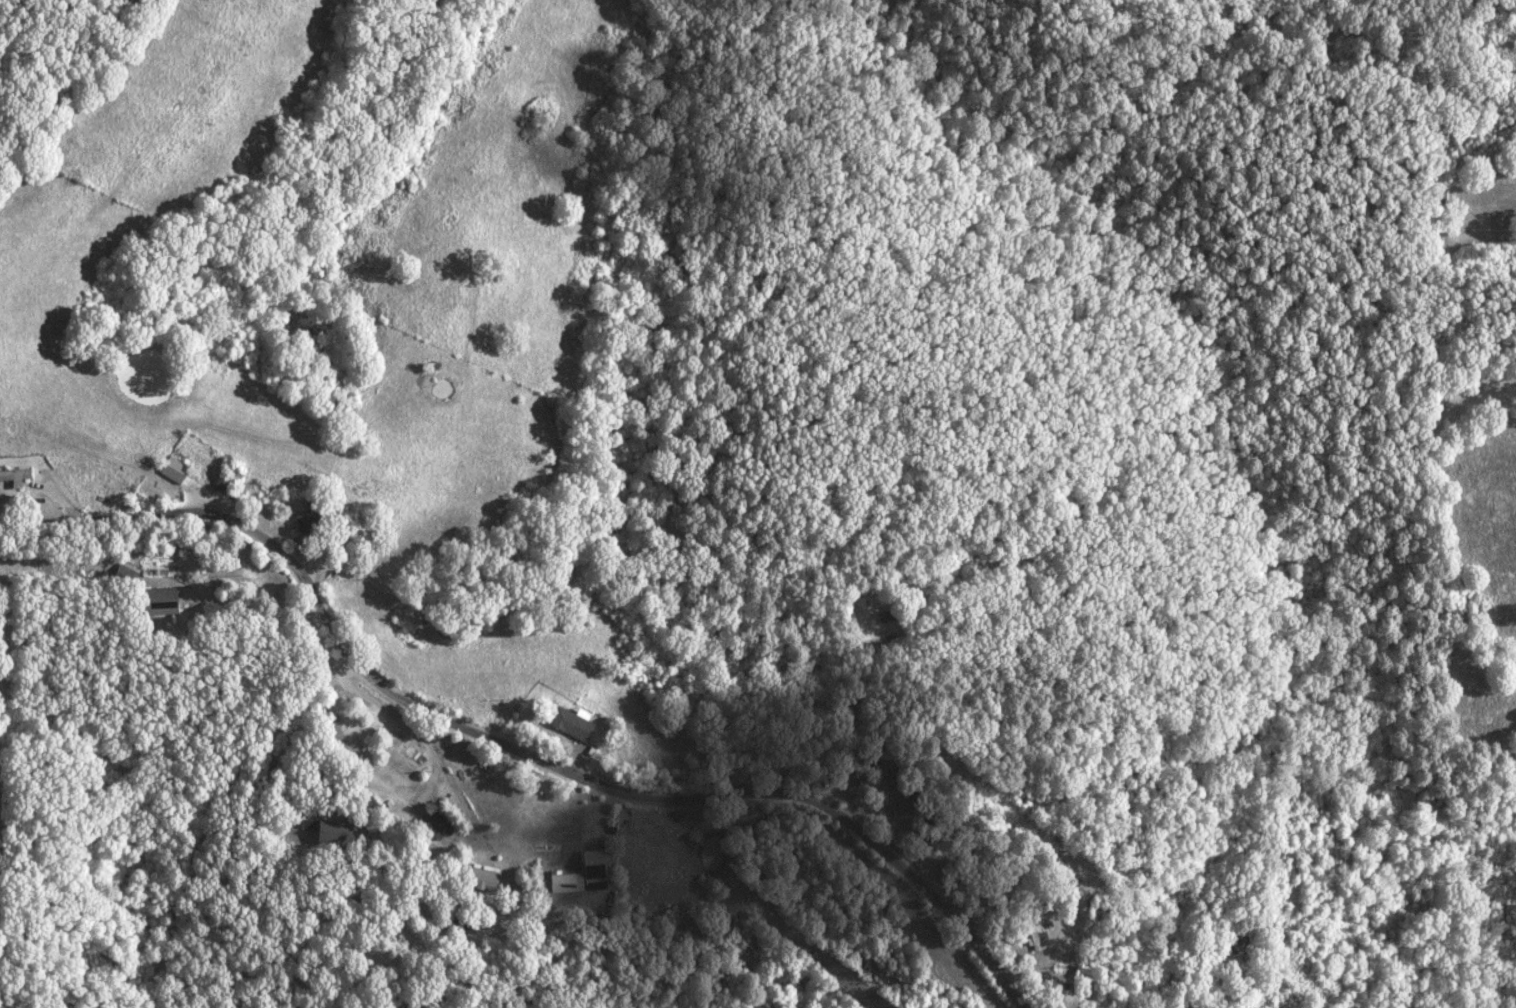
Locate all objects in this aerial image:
building: (170, 467)
building: (12, 475)
building: (302, 517)
building: (153, 599)
road: (517, 747)
building: (871, 779)
building: (434, 822)
building: (330, 831)
building: (575, 872)
building: (478, 878)
road: (495, 919)

